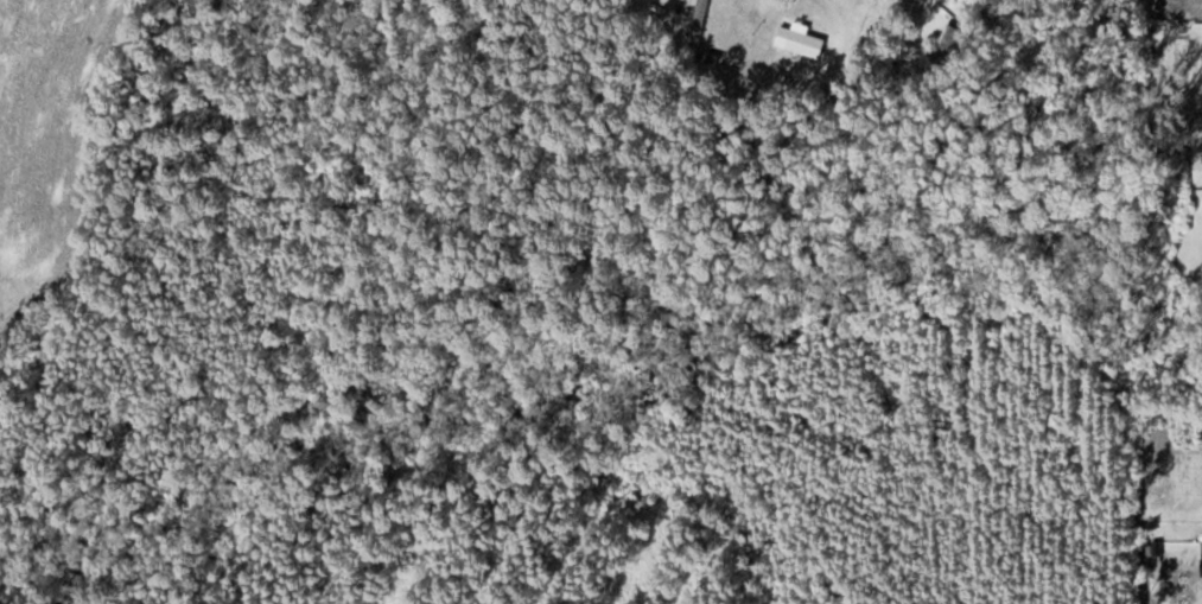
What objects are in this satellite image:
building: (700, 21)
building: (807, 42)
building: (949, 44)

